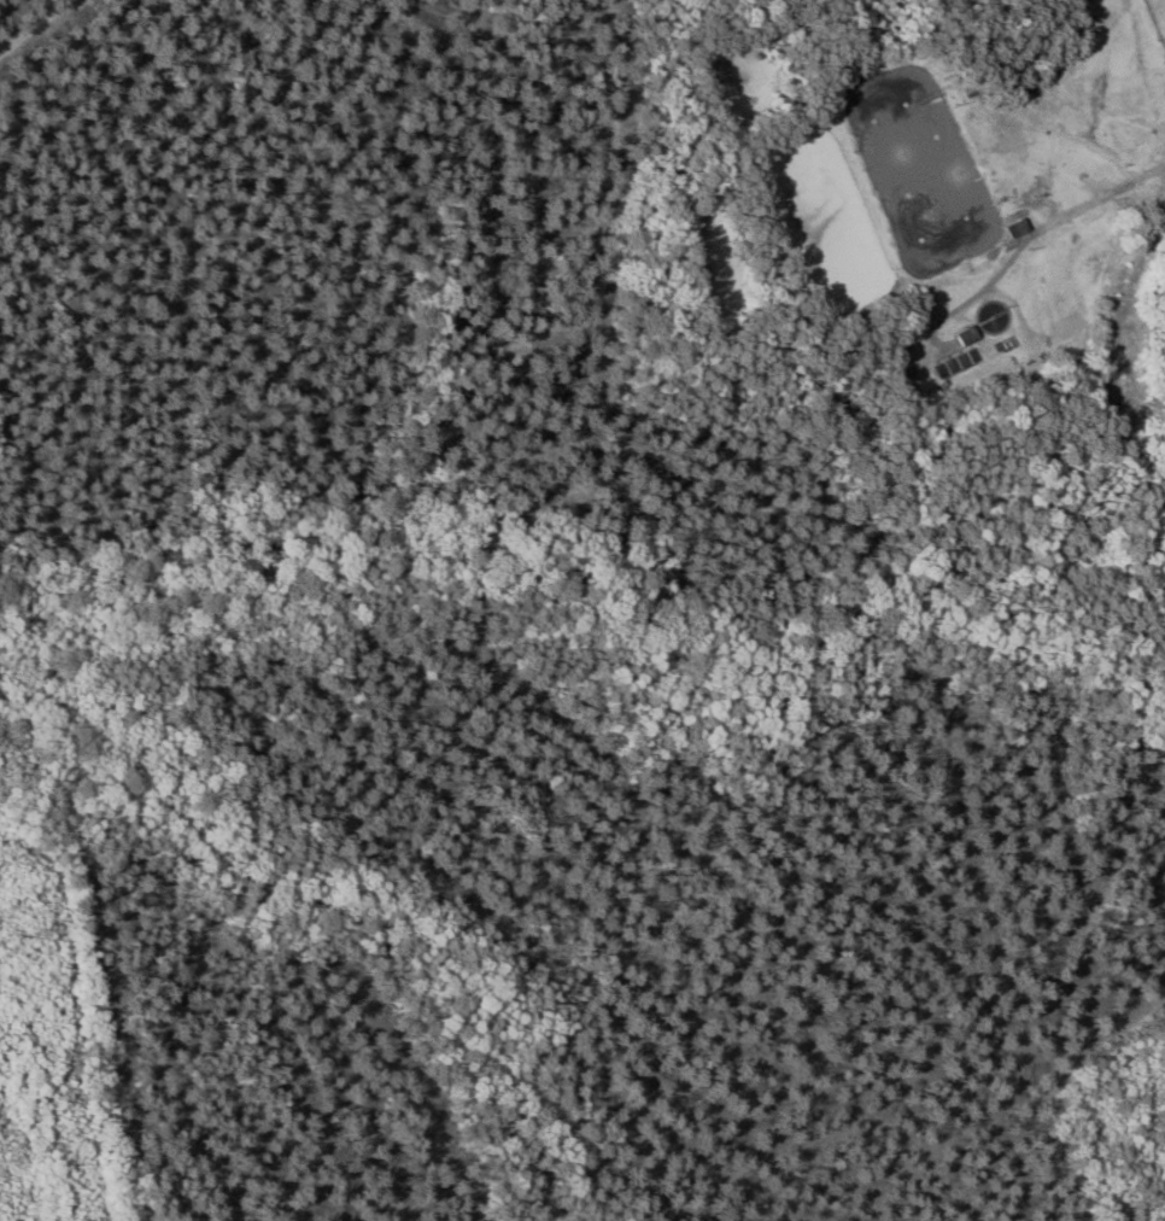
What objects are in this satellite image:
building: (966, 337)

